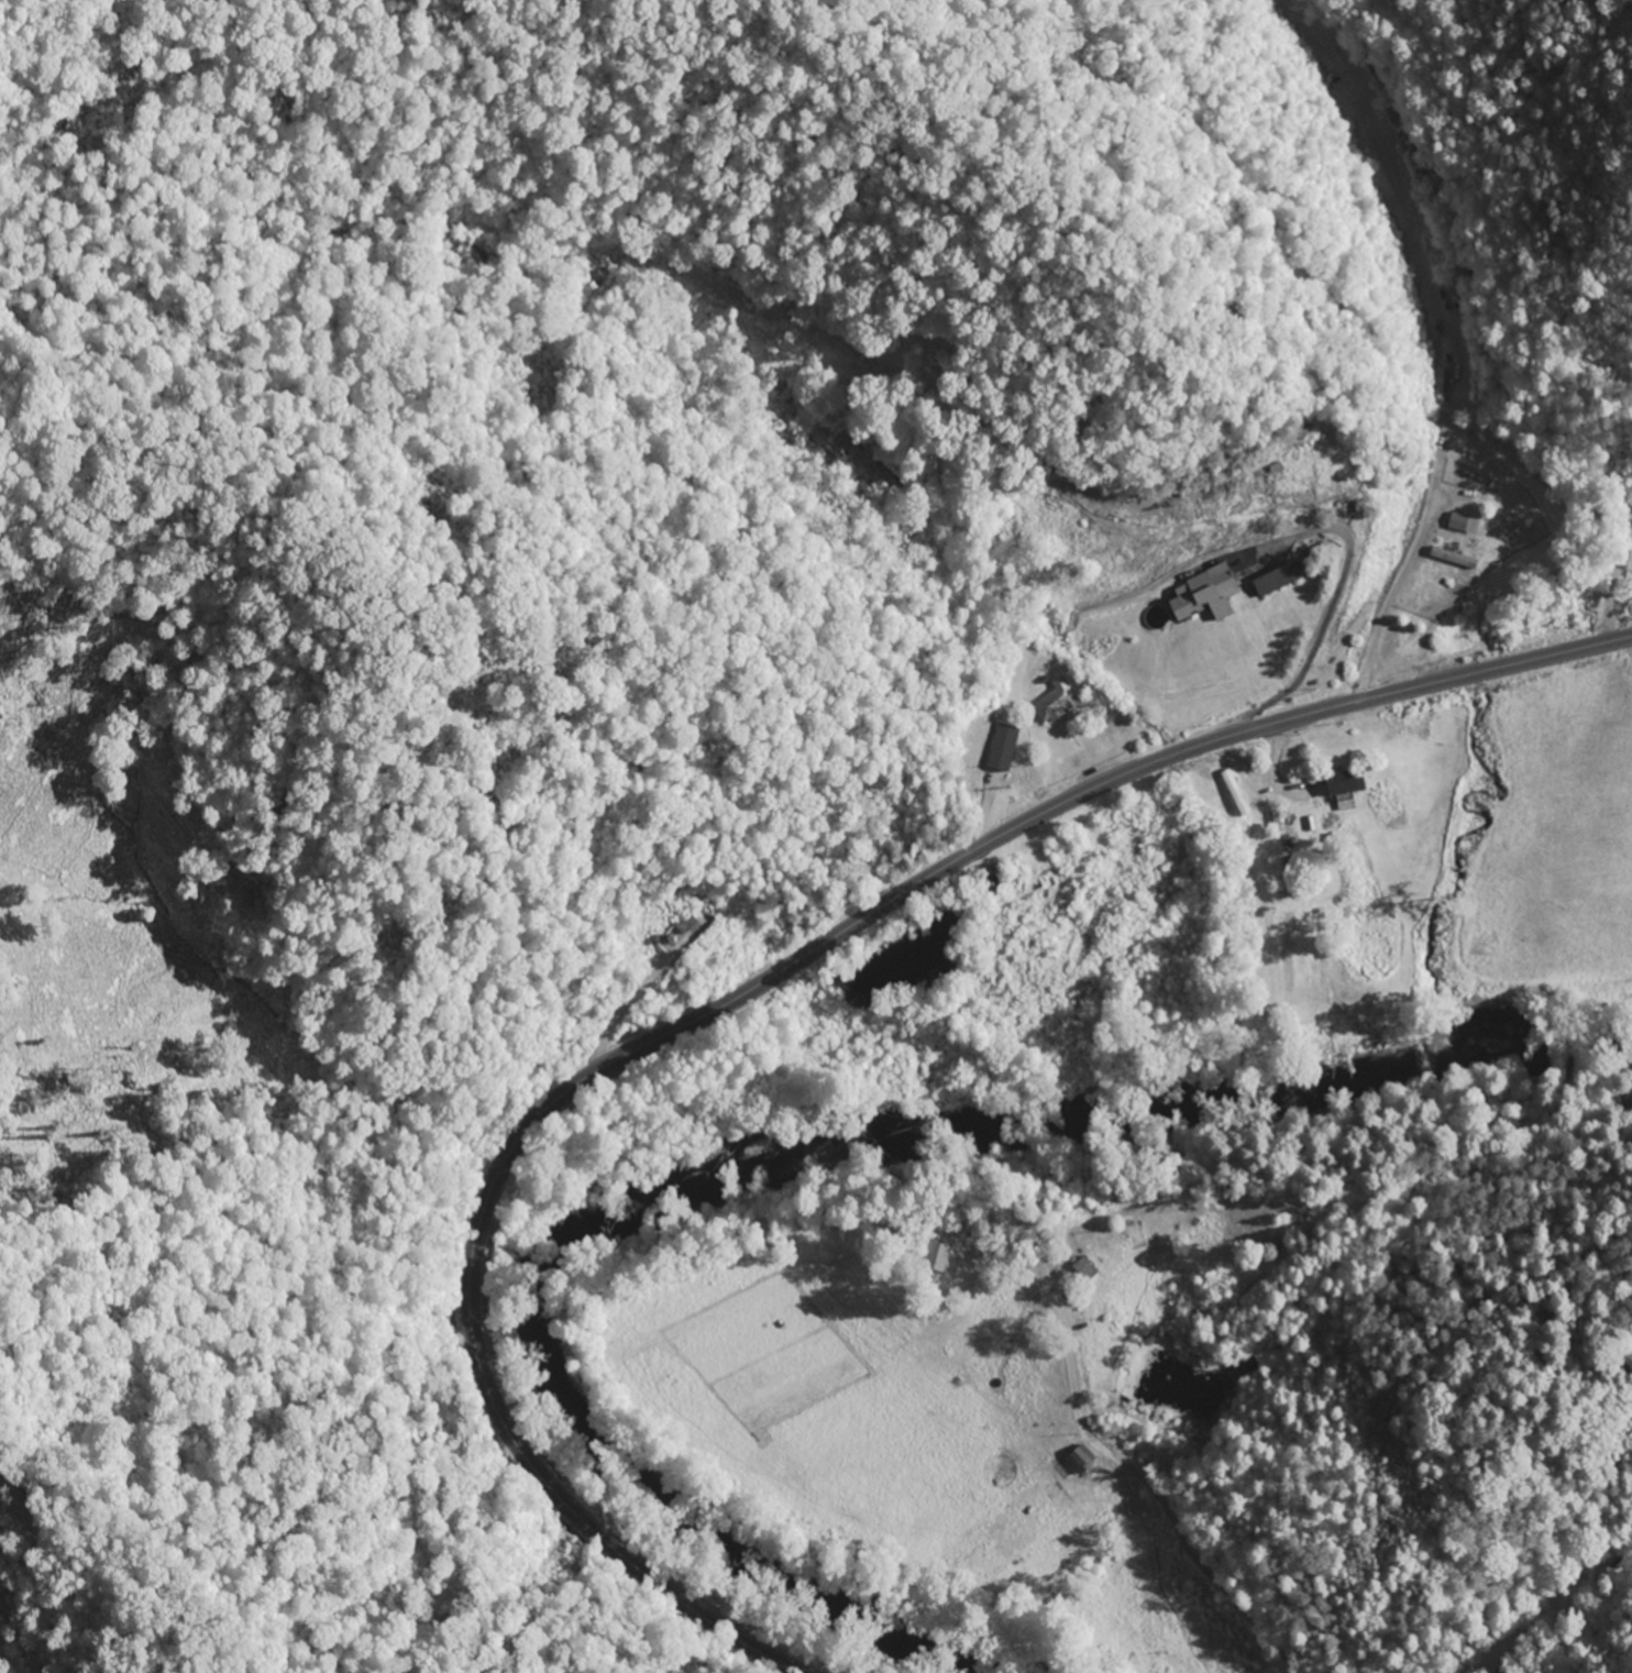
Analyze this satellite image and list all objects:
building: (1464, 525)
building: (1456, 560)
building: (1283, 579)
building: (1208, 596)
building: (1058, 704)
building: (1348, 784)
building: (1238, 794)
road: (749, 991)
building: (939, 1255)
road: (1169, 1509)

